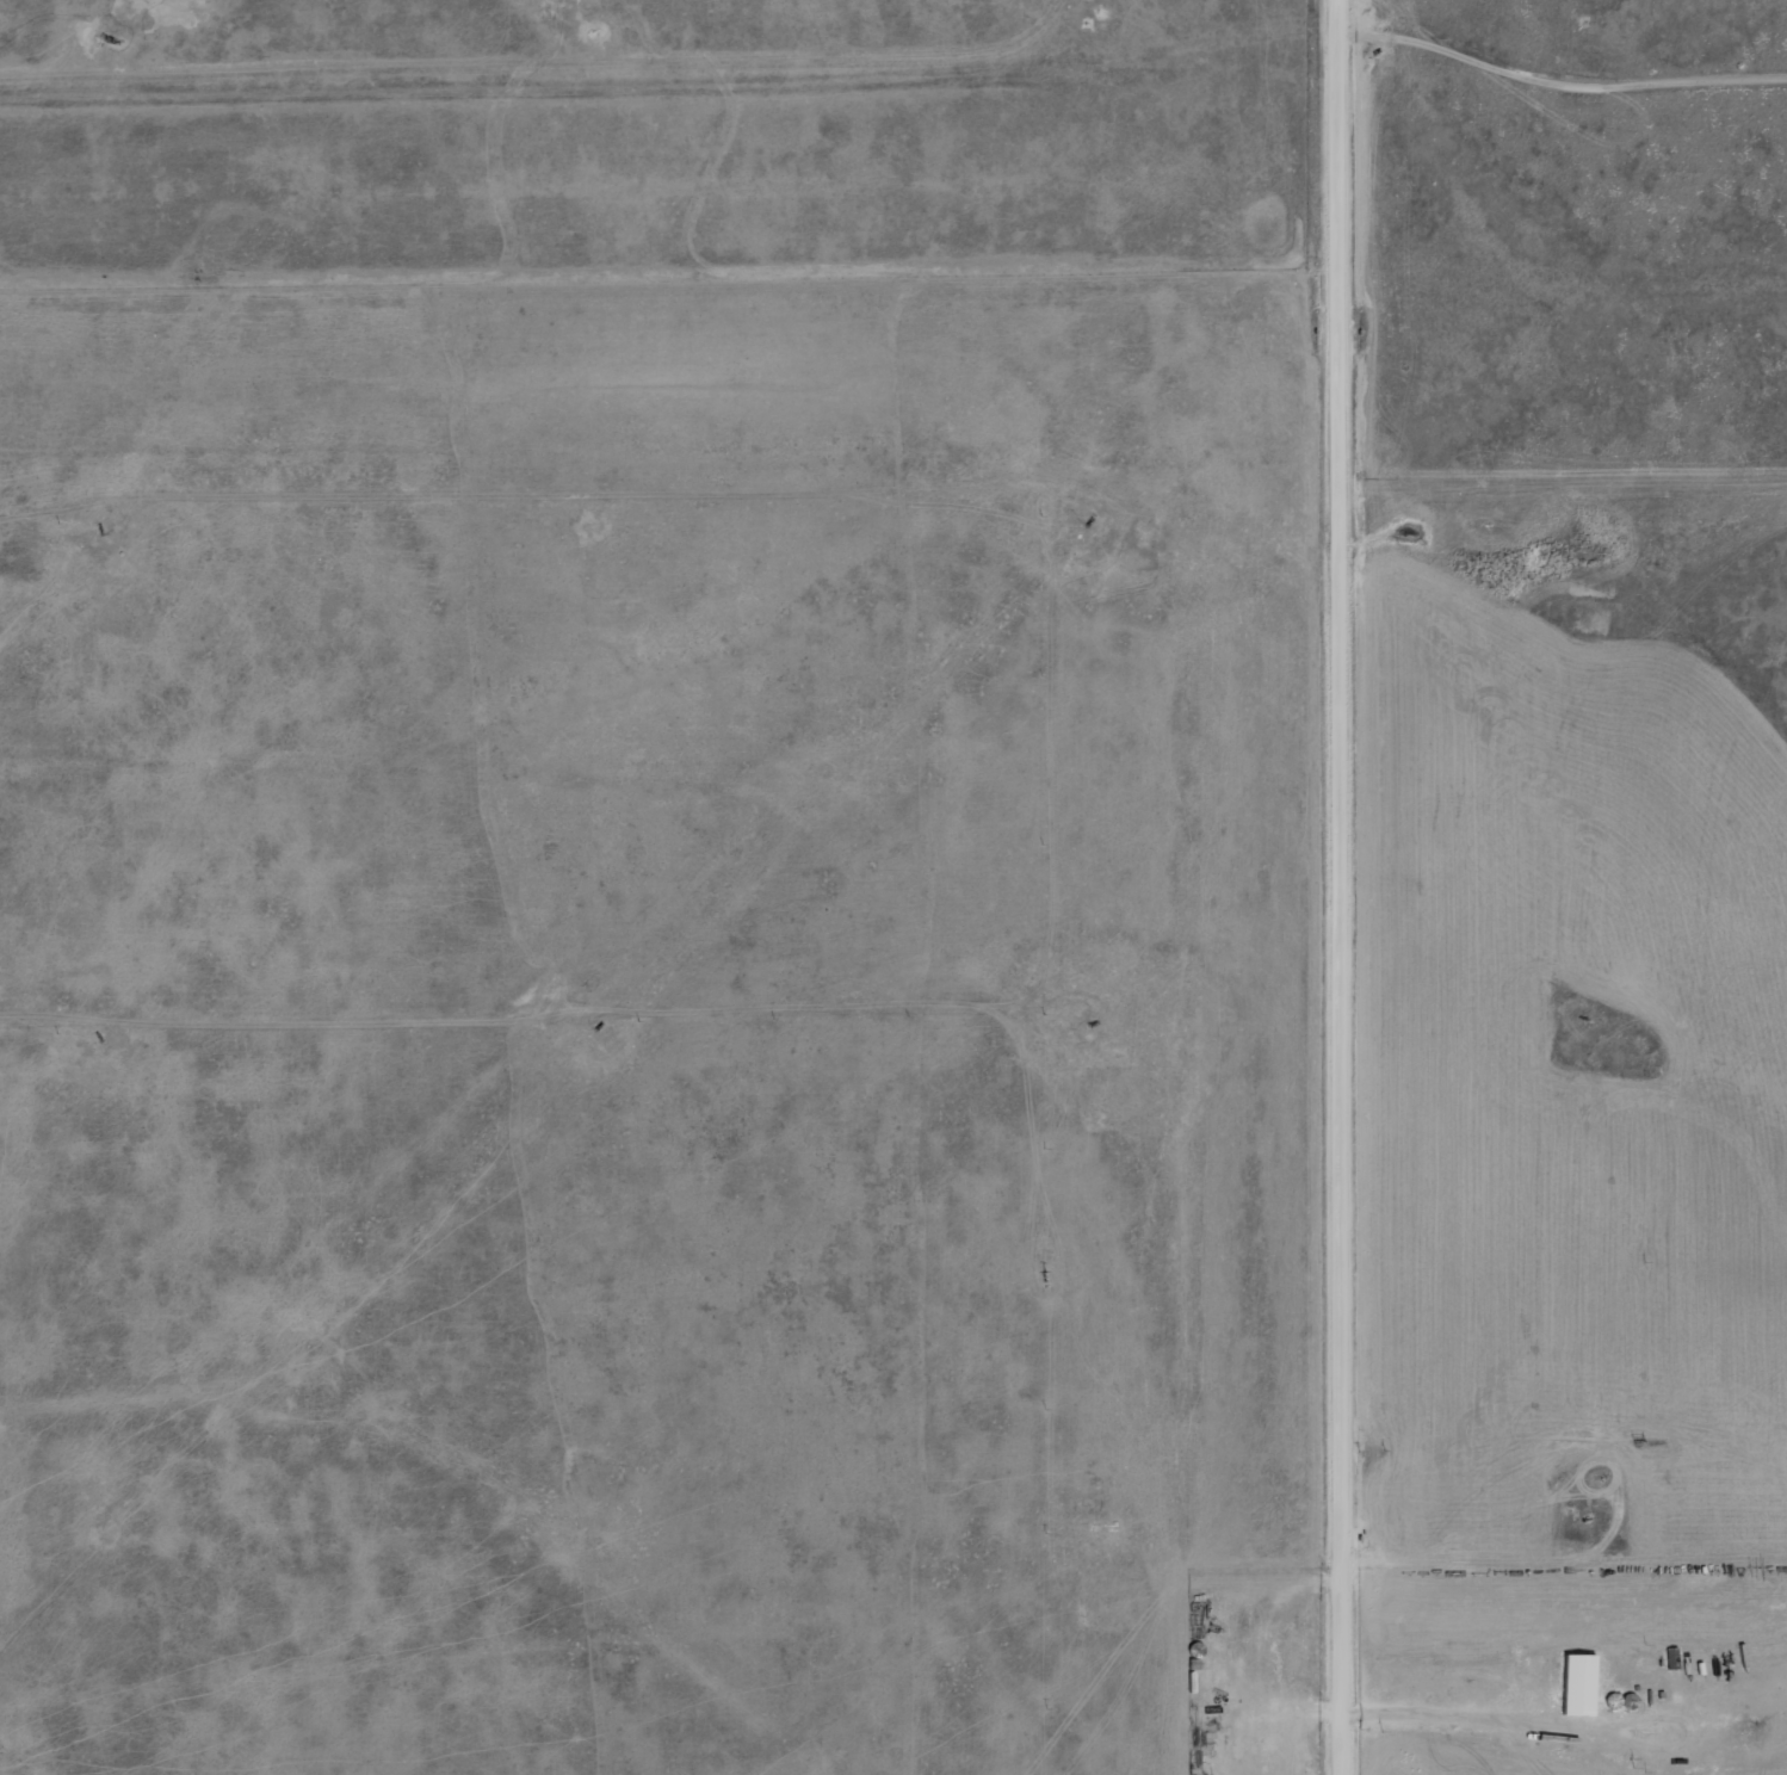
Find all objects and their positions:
road: (1347, 887)
building: (1581, 1684)
road: (1448, 1690)

